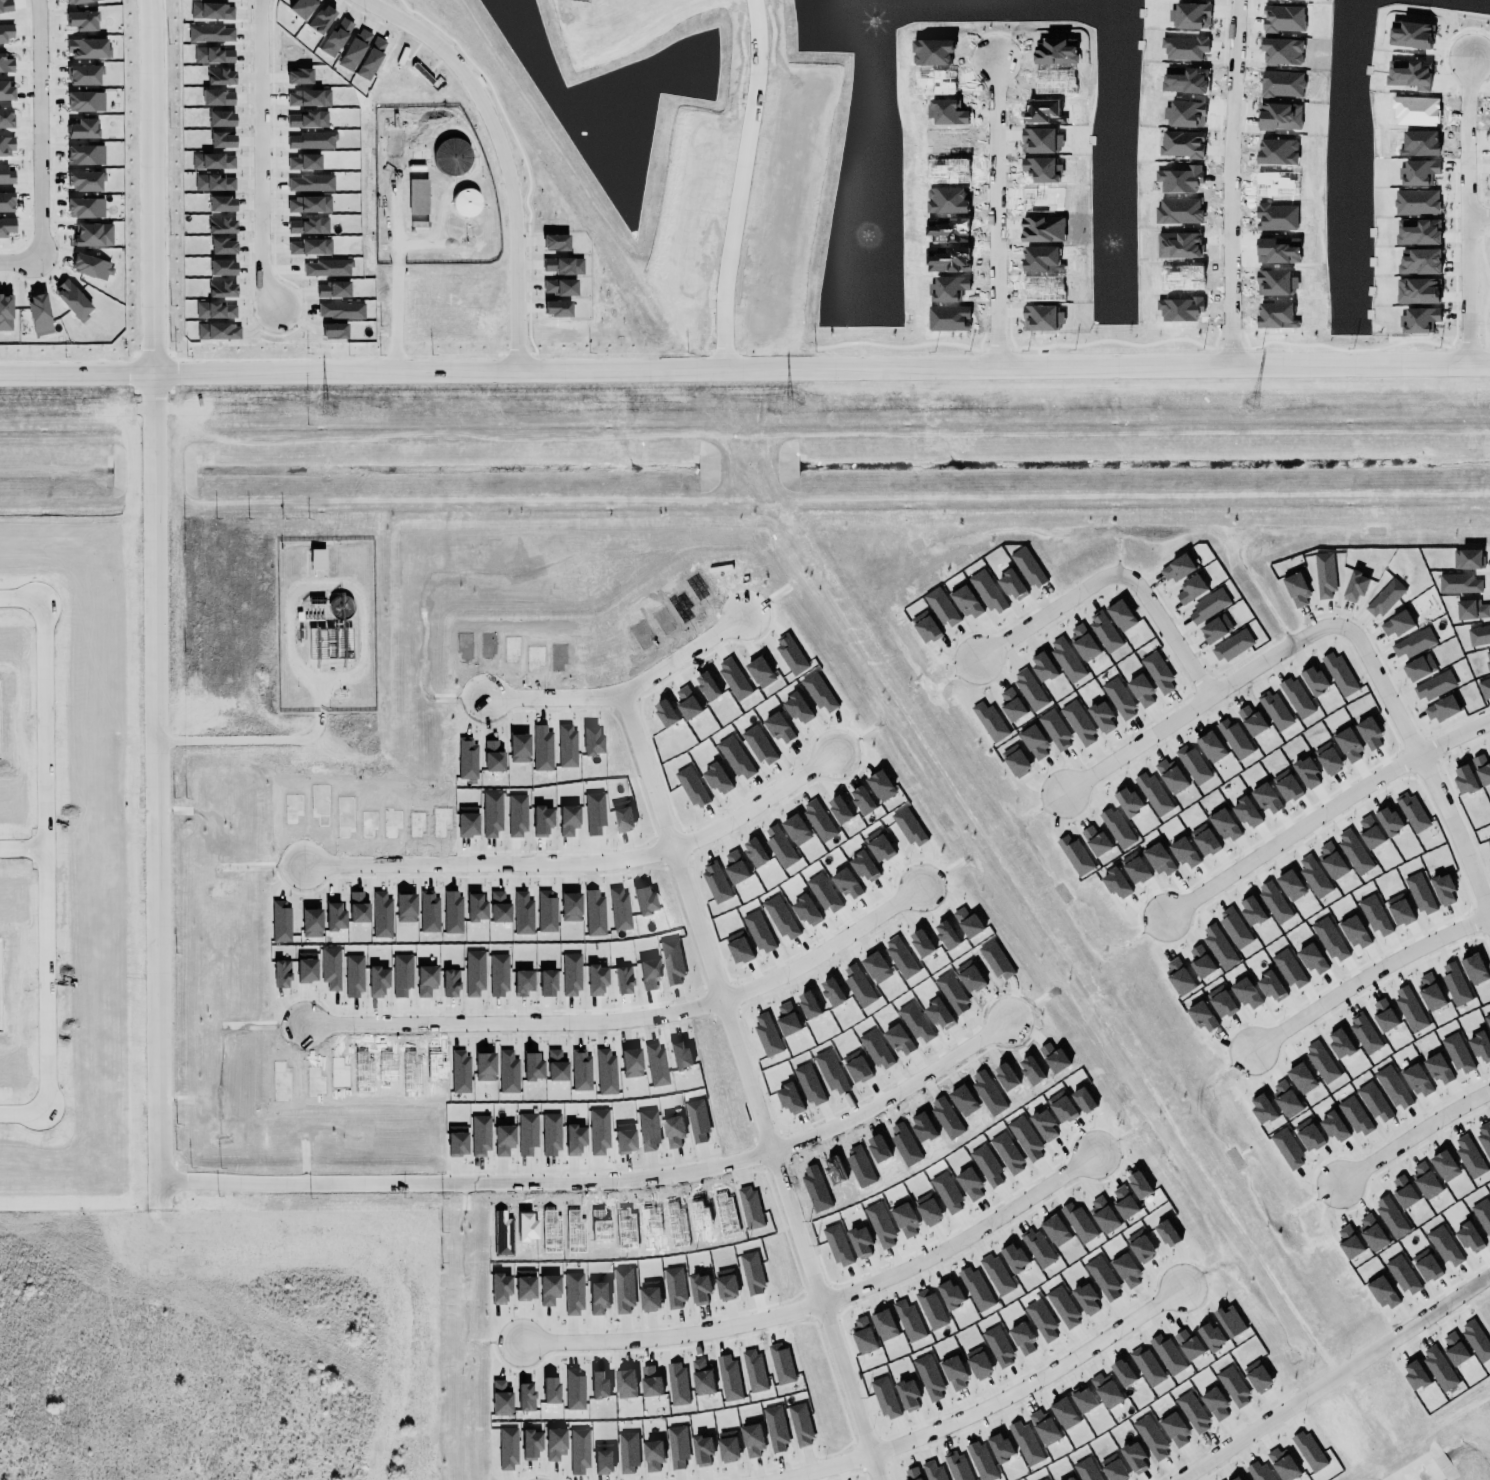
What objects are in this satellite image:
building: (78, 2)
building: (5, 6)
building: (82, 21)
building: (6, 33)
building: (87, 49)
building: (6, 65)
building: (83, 70)
building: (1410, 74)
building: (6, 87)
building: (84, 97)
building: (6, 115)
building: (82, 125)
road: (36, 131)
building: (85, 151)
road: (503, 152)
road: (259, 154)
building: (7, 174)
building: (85, 176)
road: (737, 182)
road: (1229, 182)
road: (151, 183)
building: (418, 196)
building: (6, 202)
building: (466, 203)
building: (85, 204)
road: (1465, 212)
road: (995, 215)
road: (1477, 216)
building: (418, 221)
building: (6, 226)
building: (93, 234)
road: (20, 264)
building: (92, 267)
road: (396, 274)
building: (73, 301)
building: (38, 309)
building: (6, 312)
road: (745, 365)
power tower: (1252, 403)
power tower: (790, 406)
power tower: (324, 410)
building: (318, 559)
building: (1468, 559)
building: (1029, 566)
building: (1177, 569)
building: (1325, 575)
building: (1459, 584)
building: (1012, 585)
building: (1355, 585)
building: (1297, 589)
building: (1191, 590)
building: (988, 592)
building: (1385, 598)
building: (966, 602)
building: (1209, 606)
building: (942, 608)
building: (1472, 610)
road: (1043, 615)
building: (1121, 615)
building: (1397, 624)
building: (926, 627)
building: (1216, 629)
building: (1104, 631)
road: (1164, 634)
building: (1479, 636)
building: (1083, 642)
building: (1414, 643)
building: (1232, 646)
building: (1488, 656)
building: (1066, 657)
building: (1043, 667)
building: (1419, 668)
building: (1158, 672)
building: (1340, 674)
building: (1315, 680)
building: (1434, 686)
building: (1141, 688)
building: (1484, 688)
building: (1029, 689)
road: (624, 692)
building: (1297, 698)
building: (1119, 699)
road: (1194, 703)
building: (1011, 704)
building: (1442, 709)
building: (1274, 710)
building: (1102, 716)
building: (1252, 720)
building: (990, 722)
building: (1079, 723)
building: (1055, 729)
building: (1369, 729)
building: (1235, 739)
road: (261, 740)
building: (1035, 742)
building: (1347, 742)
building: (1211, 747)
building: (1328, 758)
building: (1016, 760)
building: (1193, 765)
building: (1482, 769)
building: (1307, 772)
road: (1420, 775)
building: (1170, 776)
building: (1465, 780)
building: (1287, 786)
building: (1153, 793)
road: (156, 794)
building: (1266, 795)
building: (1128, 801)
road: (749, 806)
building: (1246, 812)
building: (1412, 812)
road: (1319, 813)
building: (1389, 820)
building: (1224, 824)
building: (1117, 828)
building: (1370, 832)
building: (1205, 840)
building: (1096, 841)
building: (1488, 843)
road: (22, 848)
building: (1184, 852)
building: (1354, 852)
building: (1075, 855)
building: (1159, 857)
road: (45, 858)
building: (1331, 861)
road: (487, 864)
building: (1136, 868)
building: (1314, 876)
building: (1291, 882)
building: (1116, 883)
building: (1443, 889)
building: (1420, 894)
building: (1274, 900)
building: (1253, 908)
building: (1399, 908)
building: (1374, 915)
building: (1234, 925)
building: (1354, 932)
building: (1330, 940)
building: (1219, 946)
road: (820, 951)
building: (1313, 959)
building: (1201, 962)
building: (1289, 966)
building: (1475, 969)
building: (1179, 976)
road: (1365, 977)
building: (1455, 983)
building: (1271, 986)
building: (1430, 992)
building: (1247, 994)
building: (1221, 1001)
building: (1409, 1007)
building: (1383, 1011)
building: (1203, 1017)
building: (1487, 1020)
road: (514, 1024)
building: (1364, 1033)
building: (1340, 1043)
building: (1480, 1043)
building: (1458, 1054)
building: (681, 1056)
building: (1321, 1062)
building: (631, 1063)
building: (656, 1064)
building: (532, 1067)
building: (1438, 1068)
building: (581, 1071)
building: (606, 1073)
building: (1302, 1078)
building: (1416, 1080)
building: (1392, 1084)
road: (748, 1087)
building: (1285, 1095)
building: (1084, 1100)
building: (1374, 1101)
building: (1262, 1106)
building: (1062, 1107)
building: (1355, 1116)
building: (698, 1120)
building: (1044, 1125)
building: (1335, 1127)
building: (649, 1130)
building: (599, 1131)
building: (674, 1131)
building: (527, 1133)
building: (551, 1134)
building: (1308, 1135)
building: (480, 1136)
road: (1410, 1136)
building: (1484, 1137)
building: (625, 1138)
building: (574, 1139)
building: (1026, 1139)
building: (504, 1140)
building: (457, 1141)
building: (1287, 1149)
building: (1008, 1153)
building: (1469, 1157)
building: (1444, 1162)
building: (987, 1165)
building: (1425, 1179)
road: (618, 1181)
building: (971, 1185)
building: (1139, 1185)
building: (1404, 1192)
building: (948, 1193)
building: (1125, 1203)
building: (750, 1207)
building: (929, 1209)
building: (1481, 1211)
building: (1103, 1216)
building: (1391, 1217)
building: (906, 1220)
building: (1079, 1223)
building: (881, 1225)
building: (1055, 1230)
building: (1372, 1232)
building: (1166, 1233)
building: (1469, 1237)
building: (861, 1242)
building: (1350, 1242)
building: (838, 1245)
building: (1037, 1247)
building: (1140, 1247)
building: (1445, 1247)
building: (1015, 1257)
building: (1426, 1266)
building: (1126, 1270)
building: (752, 1273)
building: (997, 1275)
building: (1403, 1275)
building: (1103, 1278)
building: (727, 1284)
building: (525, 1285)
building: (500, 1288)
building: (675, 1288)
building: (700, 1288)
building: (976, 1289)
building: (1383, 1289)
building: (549, 1290)
building: (624, 1290)
building: (573, 1294)
building: (951, 1294)
building: (650, 1296)
building: (599, 1297)
building: (1086, 1299)
road: (821, 1302)
building: (1062, 1307)
building: (931, 1308)
building: (1041, 1320)
building: (1230, 1320)
building: (910, 1321)
building: (885, 1325)
building: (864, 1334)
building: (1211, 1336)
building: (1022, 1339)
building: (1476, 1340)
building: (1189, 1345)
building: (999, 1347)
building: (1455, 1349)
building: (1168, 1355)
building: (781, 1363)
building: (979, 1363)
building: (1146, 1366)
building: (1439, 1368)
building: (754, 1370)
building: (955, 1373)
building: (1124, 1373)
building: (1416, 1375)
building: (702, 1376)
building: (1257, 1376)
road: (1332, 1376)
building: (729, 1378)
building: (929, 1378)
building: (651, 1382)
building: (626, 1384)
building: (678, 1384)
building: (600, 1385)
building: (1233, 1386)
building: (574, 1389)
building: (550, 1390)
building: (1106, 1391)
building: (909, 1394)
building: (525, 1397)
building: (885, 1397)
building: (501, 1398)
building: (1083, 1399)
building: (1215, 1404)
road: (989, 1406)
building: (1192, 1412)
building: (1065, 1413)
building: (801, 1425)
building: (1044, 1426)
building: (776, 1428)
building: (1175, 1429)
building: (1151, 1437)
building: (753, 1441)
building: (1026, 1443)
building: (531, 1444)
building: (555, 1444)
building: (729, 1446)
building: (678, 1447)
building: (1001, 1447)
building: (507, 1449)
building: (704, 1450)
building: (579, 1451)
building: (1310, 1451)
building: (628, 1453)
building: (654, 1455)
building: (1134, 1458)
building: (604, 1459)
building: (981, 1461)
building: (1284, 1464)
building: (958, 1466)
building: (1113, 1468)
building: (1086, 1470)
building: (933, 1471)
building: (1262, 1471)
building: (913, 1474)
building: (1239, 1478)
building: (1046, 1479)
building: (1072, 1479)

